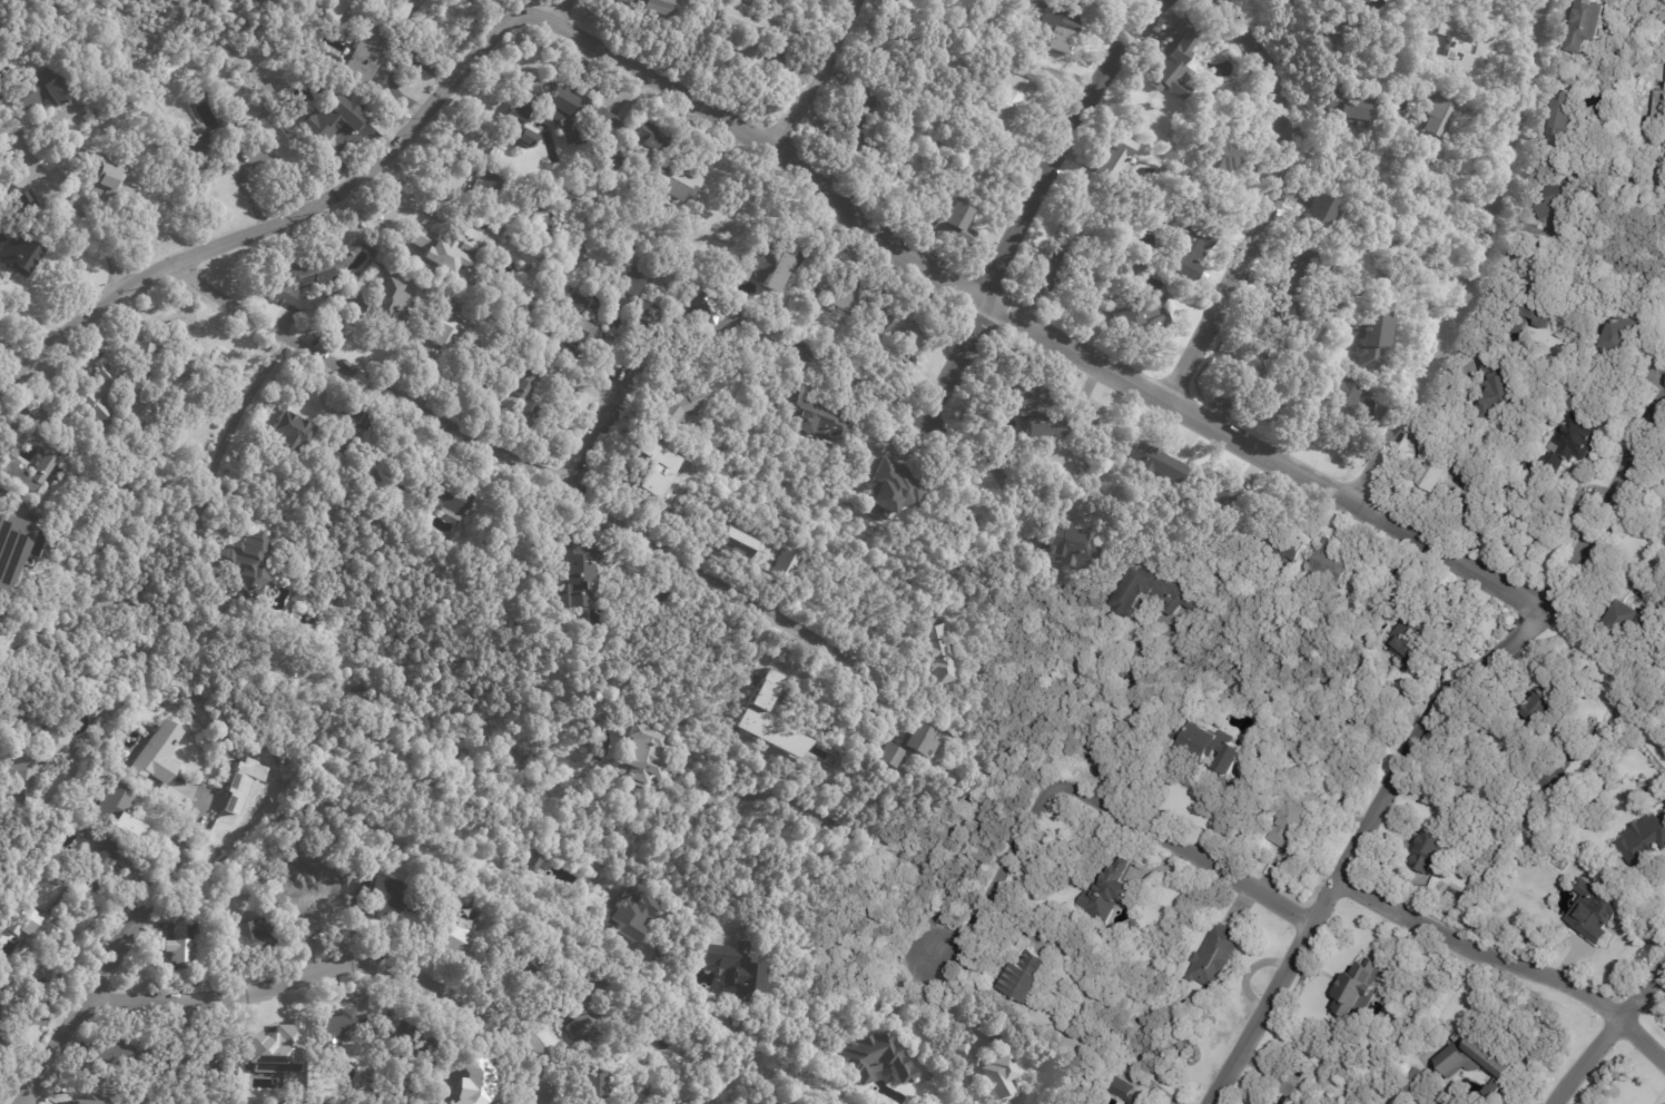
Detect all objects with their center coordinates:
building: (965, 0)
building: (254, 1)
building: (1287, 1)
building: (1032, 3)
building: (650, 6)
building: (337, 8)
building: (398, 11)
road: (564, 11)
building: (1346, 20)
building: (1333, 23)
building: (1589, 26)
building: (1062, 27)
building: (1321, 29)
building: (748, 30)
building: (1337, 40)
building: (7, 49)
building: (1450, 50)
building: (364, 60)
building: (1174, 62)
road: (817, 73)
building: (38, 91)
building: (860, 95)
building: (1013, 106)
building: (1351, 107)
building: (1658, 110)
building: (558, 114)
building: (87, 117)
building: (329, 119)
building: (1440, 120)
building: (1564, 121)
building: (231, 131)
building: (864, 132)
building: (649, 139)
road: (396, 141)
building: (195, 152)
building: (1114, 159)
building: (619, 162)
building: (1425, 164)
building: (1215, 166)
building: (67, 167)
building: (102, 177)
building: (671, 180)
building: (6, 193)
building: (491, 193)
building: (1557, 199)
road: (1035, 201)
road: (1273, 204)
building: (24, 205)
building: (1324, 214)
road: (85, 217)
building: (956, 224)
building: (541, 225)
building: (1160, 225)
building: (452, 249)
building: (1189, 250)
building: (20, 255)
building: (1416, 255)
building: (383, 263)
building: (762, 265)
building: (1309, 265)
road: (1481, 265)
building: (1060, 268)
building: (313, 274)
building: (844, 288)
building: (638, 297)
building: (385, 306)
building: (1290, 314)
building: (1140, 316)
building: (1536, 316)
building: (579, 317)
building: (711, 321)
building: (899, 328)
building: (1519, 329)
building: (454, 335)
building: (1617, 341)
building: (1373, 344)
building: (799, 346)
building: (149, 353)
building: (1490, 362)
building: (1255, 366)
road: (589, 379)
building: (495, 386)
building: (111, 391)
road: (1153, 394)
building: (1496, 396)
building: (506, 398)
building: (1230, 401)
building: (1341, 401)
building: (682, 402)
building: (774, 406)
building: (1035, 408)
building: (812, 410)
building: (355, 415)
road: (610, 416)
road: (226, 430)
building: (288, 433)
building: (1572, 444)
building: (341, 451)
road: (988, 456)
building: (49, 459)
building: (1155, 462)
building: (661, 480)
building: (393, 483)
road: (563, 484)
building: (897, 486)
building: (1432, 492)
building: (1218, 495)
building: (449, 499)
building: (736, 543)
building: (1283, 544)
building: (1071, 546)
building: (11, 549)
building: (1331, 563)
building: (249, 564)
building: (785, 565)
building: (578, 570)
building: (1156, 592)
building: (254, 597)
building: (1629, 624)
building: (1409, 642)
building: (933, 649)
building: (775, 663)
building: (767, 696)
building: (91, 708)
building: (1541, 712)
road: (1133, 735)
road: (1416, 735)
building: (920, 740)
building: (1208, 745)
building: (156, 752)
building: (640, 753)
building: (893, 756)
building: (41, 757)
building: (242, 782)
road: (1088, 796)
building: (115, 807)
building: (1295, 820)
building: (367, 831)
road: (851, 831)
building: (1644, 841)
building: (1434, 850)
building: (534, 862)
building: (545, 866)
building: (97, 867)
building: (1110, 891)
building: (387, 897)
building: (1596, 911)
building: (318, 913)
building: (630, 917)
building: (33, 927)
building: (253, 939)
building: (457, 939)
road: (116, 949)
building: (179, 952)
road: (850, 955)
building: (1213, 956)
road: (348, 963)
building: (518, 963)
road: (1505, 963)
building: (733, 969)
building: (1026, 978)
building: (7, 982)
building: (1358, 992)
building: (585, 1002)
road: (946, 1005)
building: (1, 1013)
building: (344, 1029)
road: (1608, 1035)
building: (408, 1039)
building: (3, 1043)
building: (274, 1049)
building: (121, 1052)
building: (1474, 1057)
building: (875, 1059)
building: (204, 1063)
building: (986, 1072)
building: (470, 1080)
building: (592, 1085)
building: (1412, 1086)
building: (1496, 1090)
building: (1124, 1092)
building: (79, 1097)
building: (1446, 1097)
building: (1270, 1103)
building: (1271, 1103)

